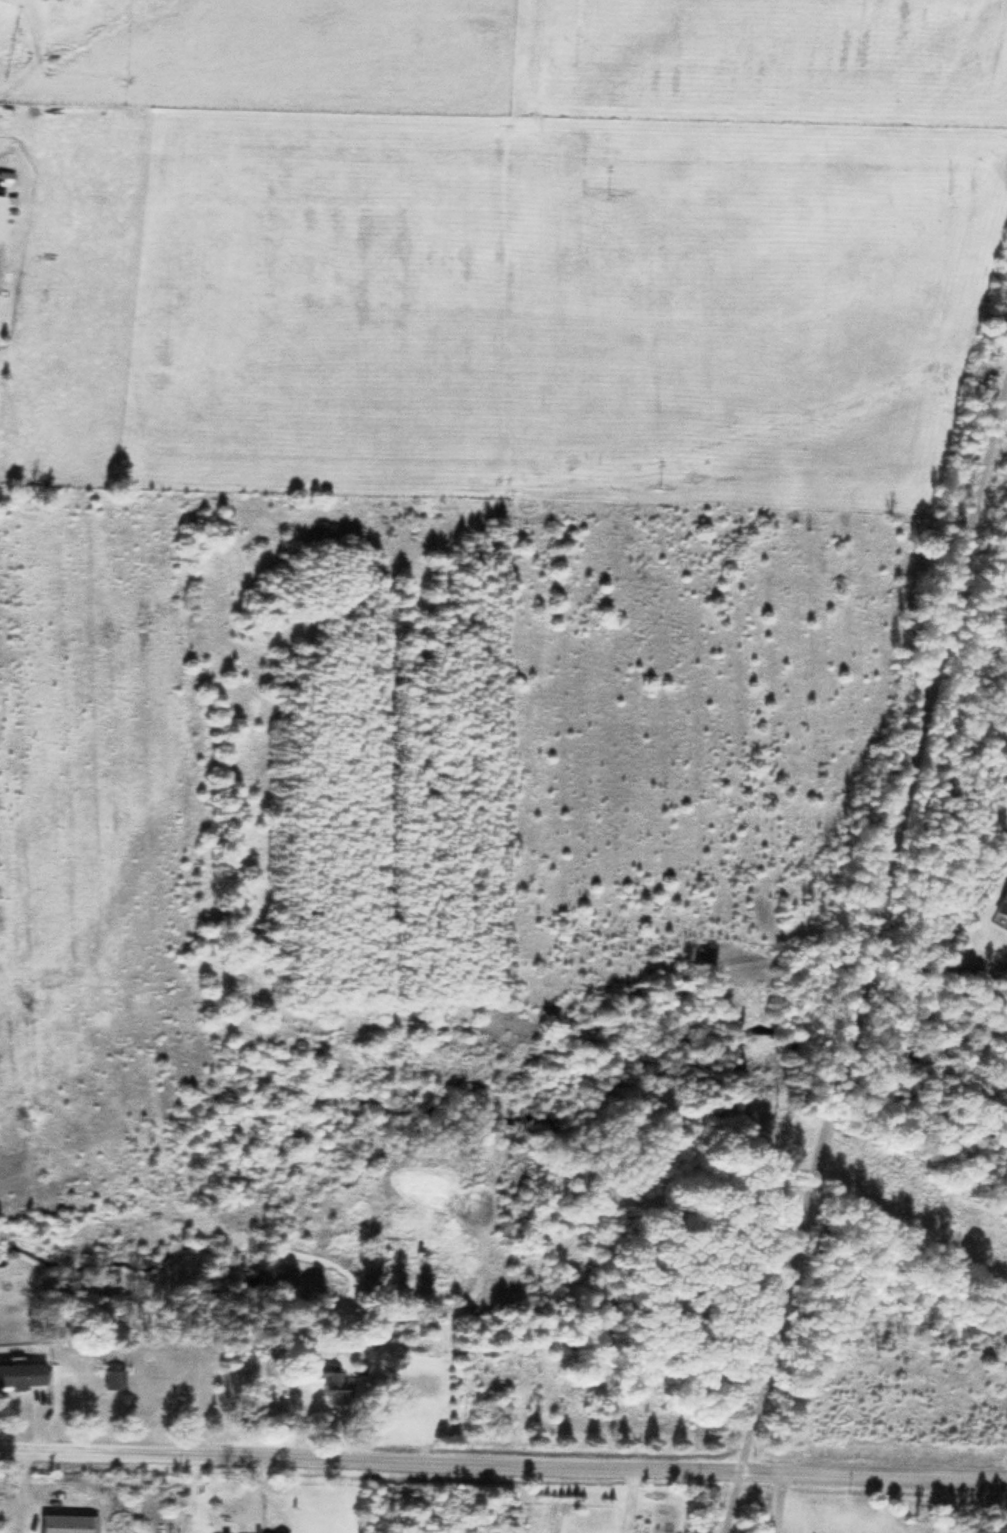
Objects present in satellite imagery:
road: (864, 955)
building: (20, 1372)
building: (109, 1377)
building: (325, 1380)
road: (503, 1459)
road: (776, 1501)

